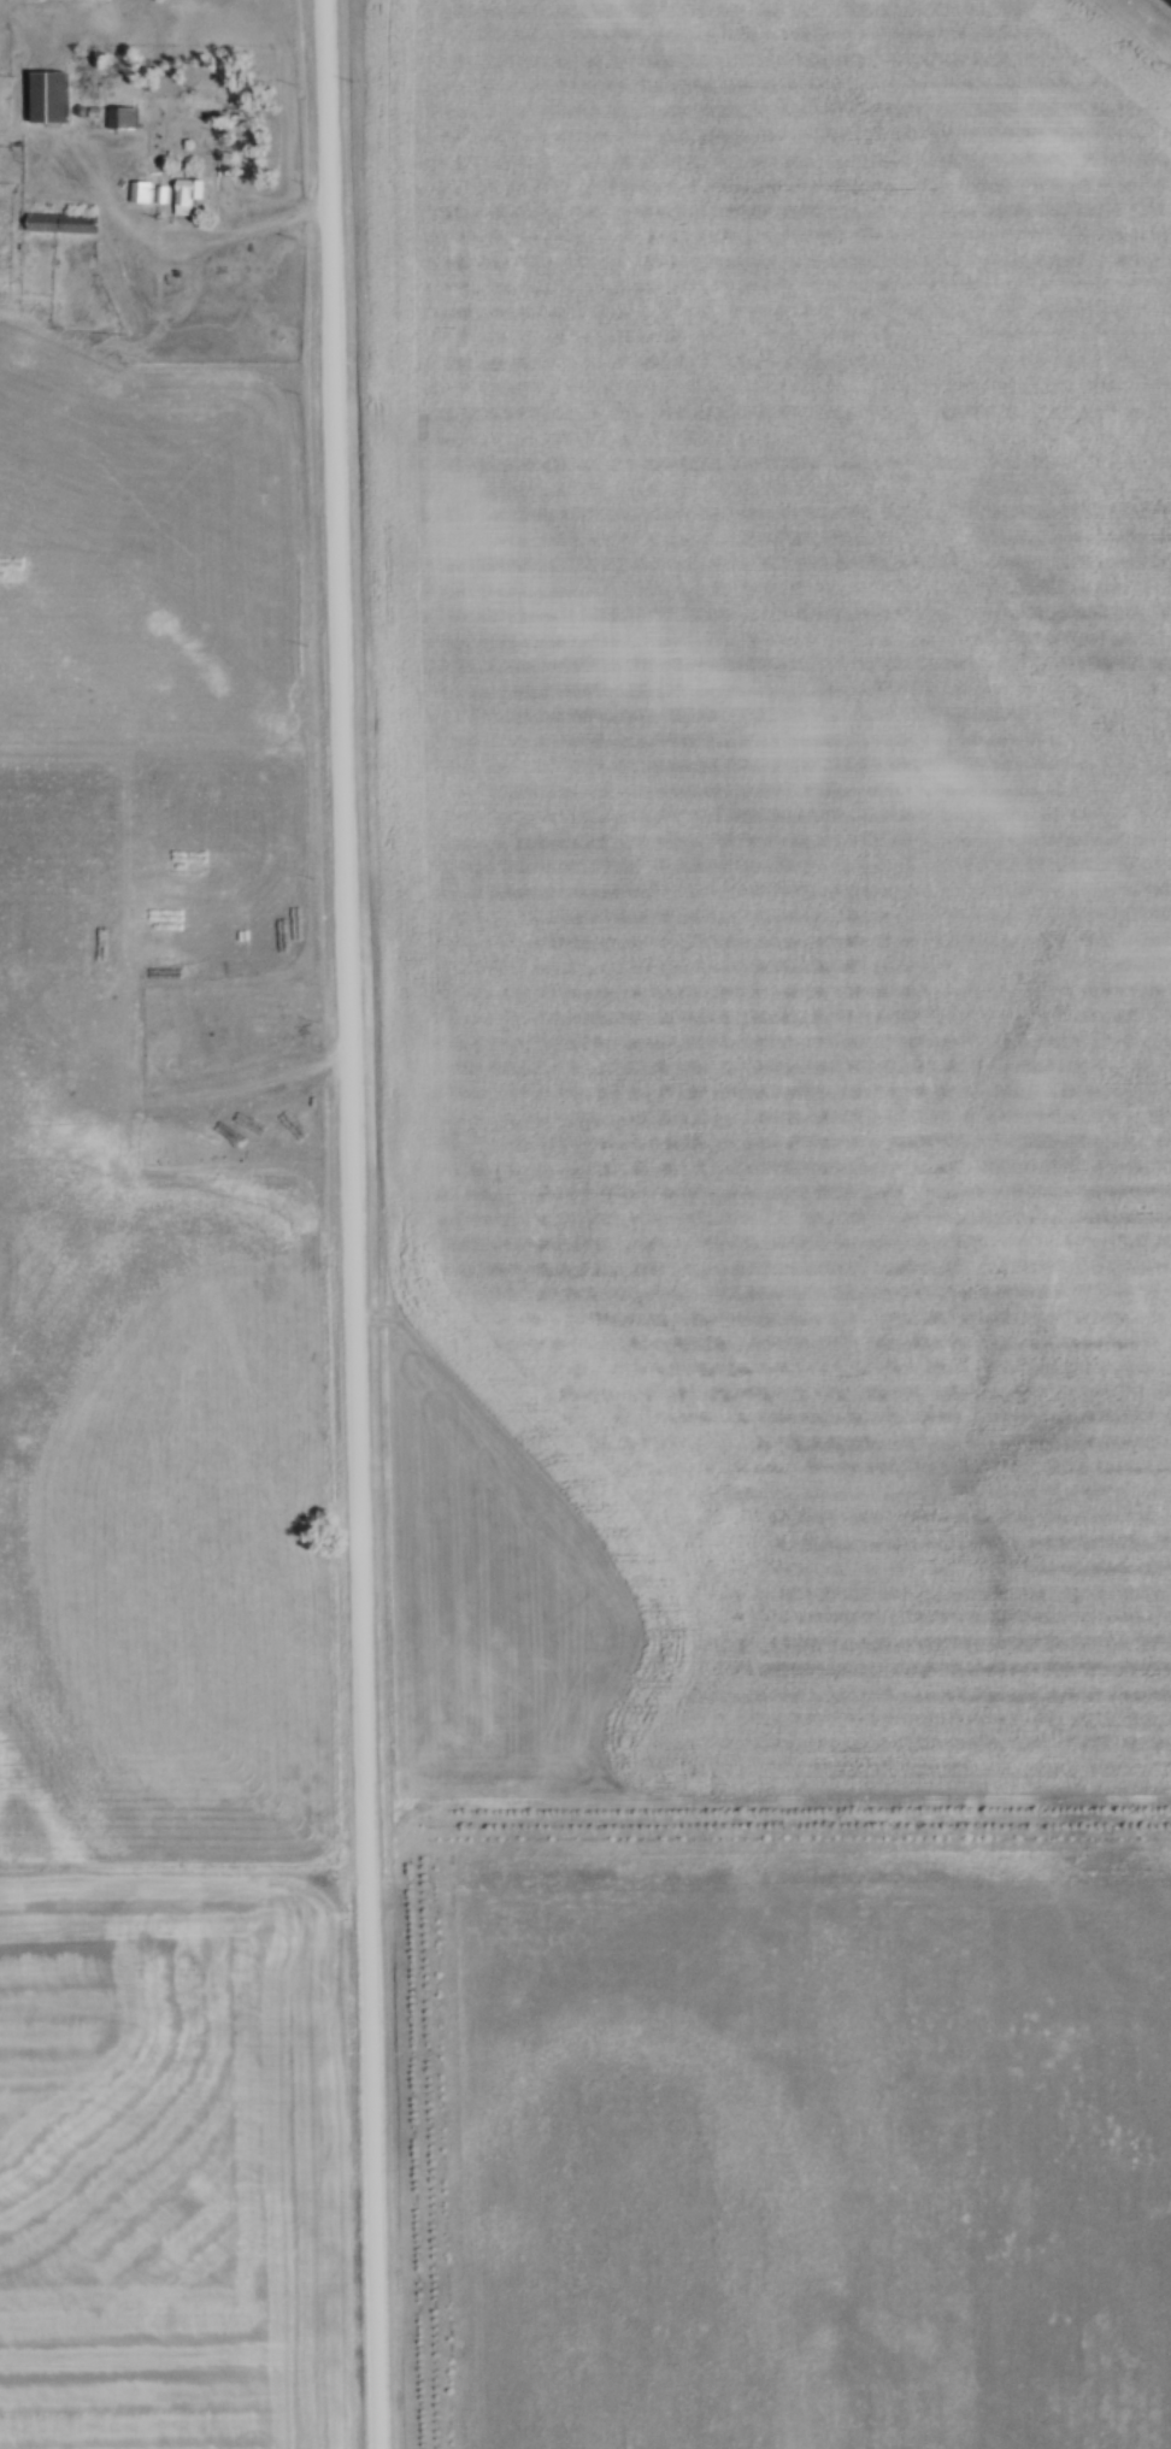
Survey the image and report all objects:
building: (57, 99)
building: (124, 119)
building: (141, 193)
building: (192, 196)
road: (255, 223)
building: (65, 224)
road: (355, 1224)

